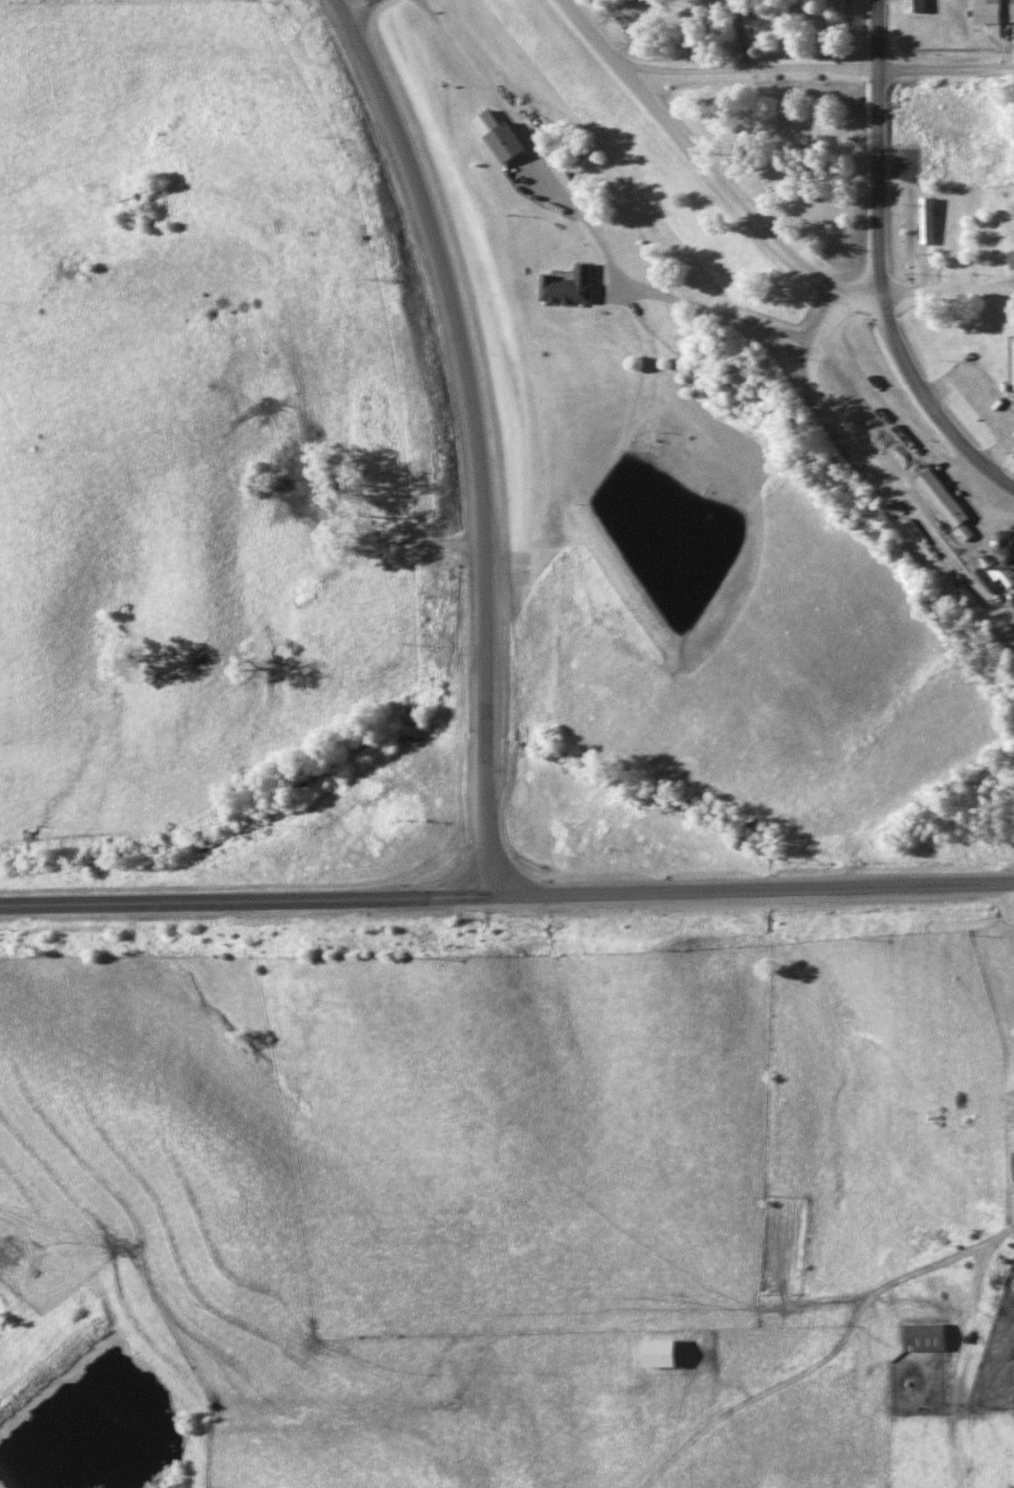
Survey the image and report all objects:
building: (920, 4)
road: (353, 5)
building: (996, 12)
road: (819, 65)
road: (878, 145)
road: (709, 170)
building: (928, 220)
road: (946, 287)
road: (636, 303)
road: (929, 402)
road: (472, 437)
road: (884, 465)
building: (946, 500)
road: (750, 890)
road: (242, 902)
building: (929, 1337)

